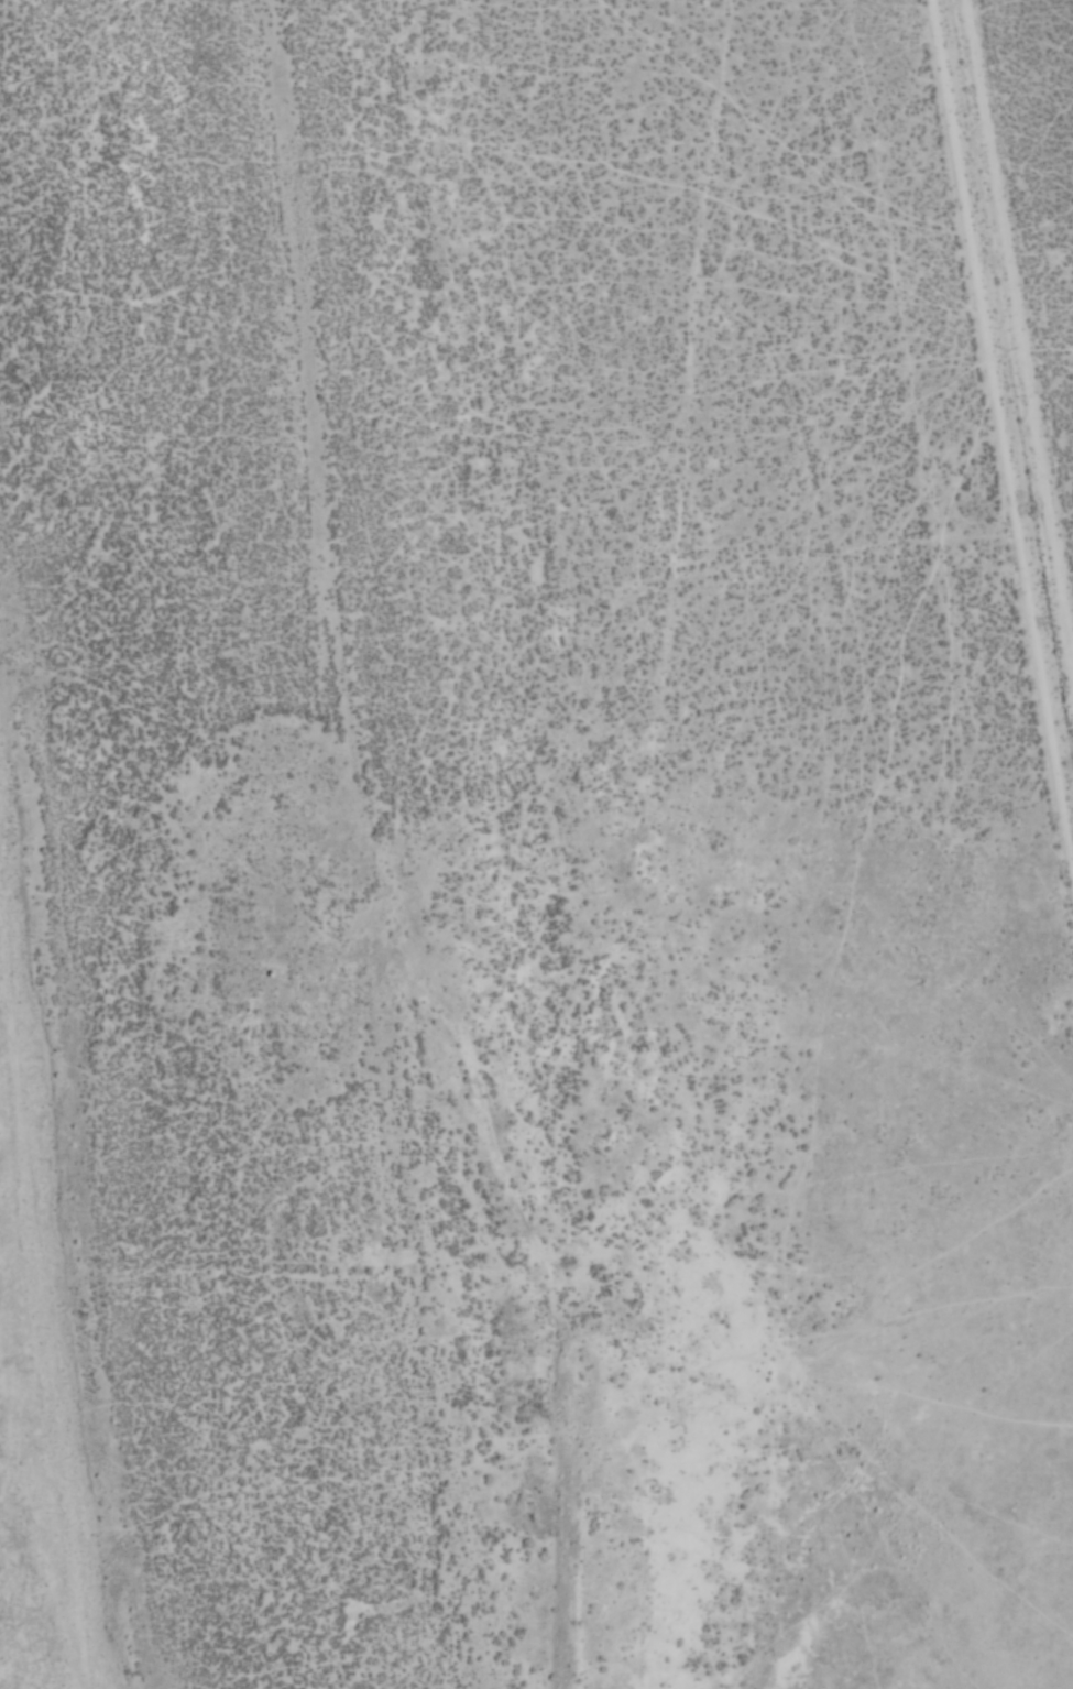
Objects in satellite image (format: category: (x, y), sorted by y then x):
airport: (1033, 240)
road: (1014, 361)

